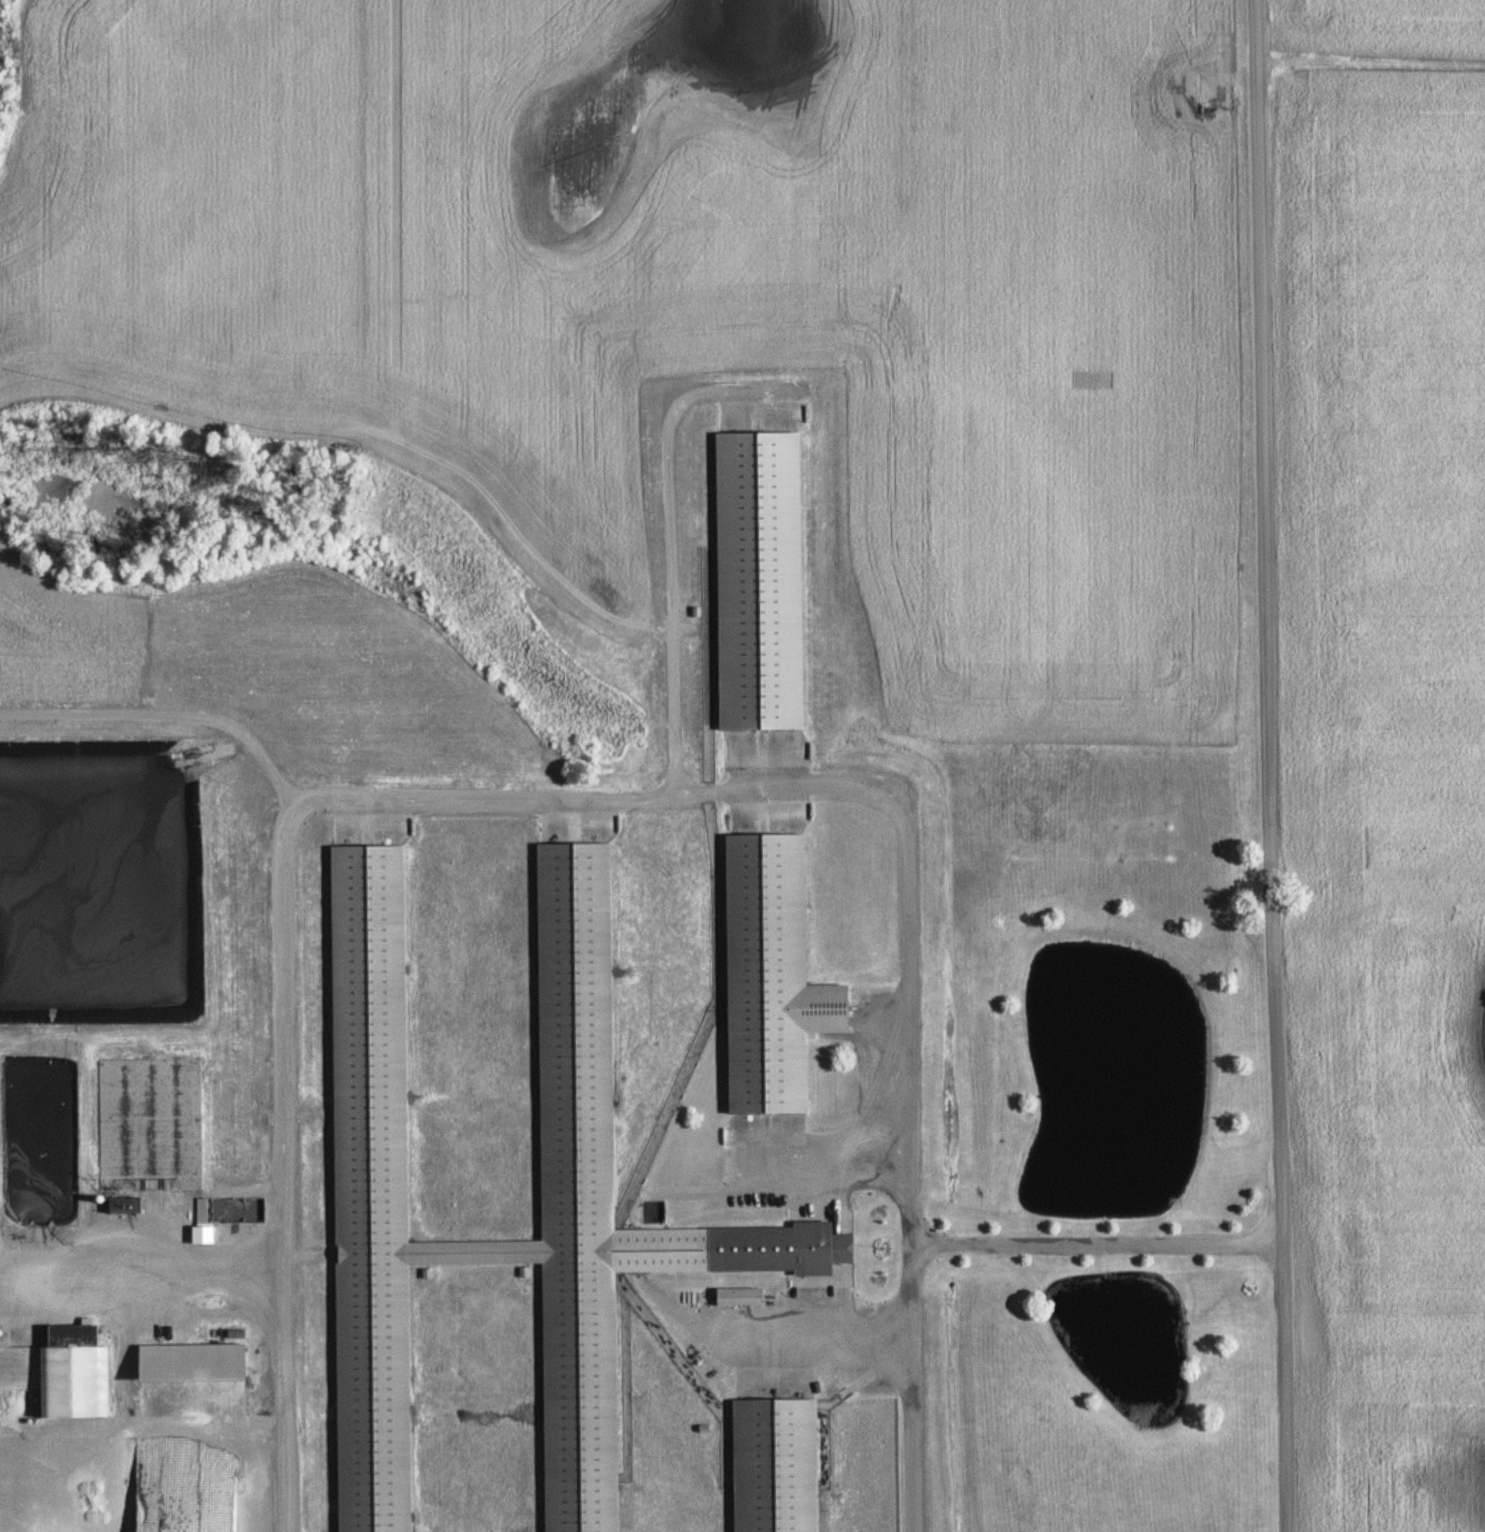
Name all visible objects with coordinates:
road: (665, 555)
building: (753, 581)
road: (168, 712)
road: (1272, 765)
road: (457, 796)
building: (766, 977)
building: (570, 1034)
building: (148, 1124)
road: (829, 1165)
building: (120, 1206)
road: (1096, 1242)
building: (732, 1298)
road: (820, 1339)
building: (185, 1364)
building: (68, 1374)
road: (912, 1387)
building: (769, 1466)
building: (33, 1506)

